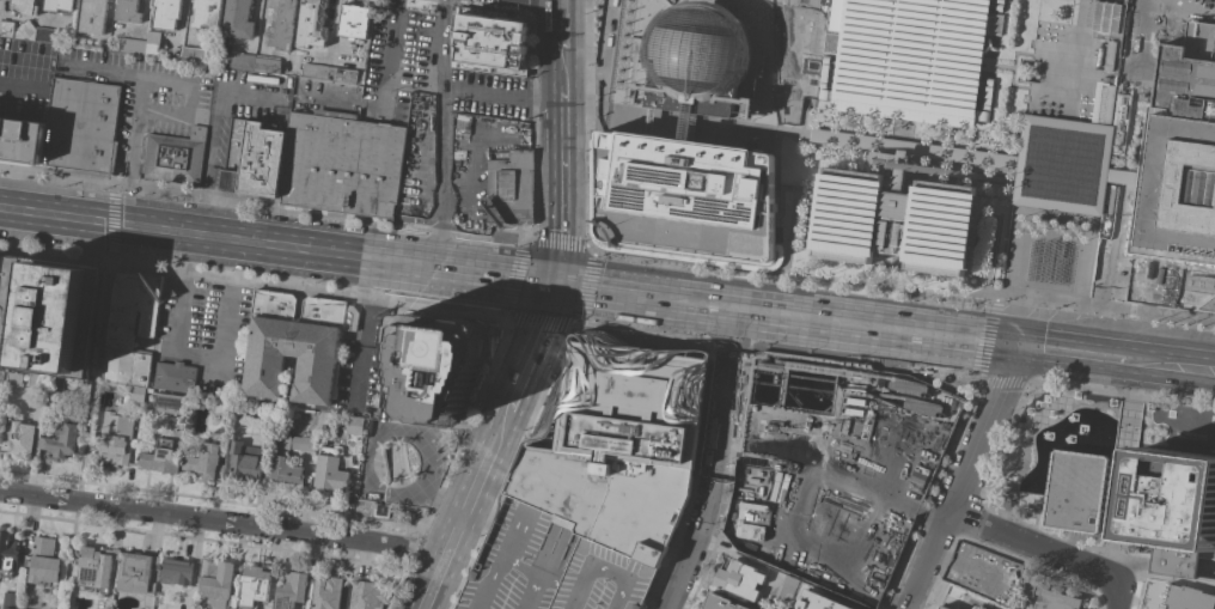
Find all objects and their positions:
building: (59, 5)
building: (25, 6)
building: (128, 11)
building: (166, 13)
building: (207, 13)
road: (1146, 13)
building: (93, 16)
building: (238, 19)
building: (354, 20)
building: (281, 24)
building: (312, 24)
road: (562, 25)
road: (332, 26)
building: (7, 28)
building: (26, 30)
building: (49, 35)
building: (492, 41)
building: (153, 43)
building: (133, 45)
building: (696, 49)
road: (603, 53)
building: (194, 55)
road: (389, 55)
building: (242, 60)
road: (1075, 60)
building: (910, 61)
building: (268, 63)
road: (776, 65)
road: (562, 69)
building: (315, 72)
building: (342, 75)
road: (19, 78)
road: (502, 95)
road: (135, 109)
building: (1110, 112)
building: (83, 127)
road: (441, 133)
building: (22, 140)
road: (851, 140)
building: (883, 150)
building: (1182, 151)
building: (234, 153)
building: (173, 157)
building: (262, 160)
road: (1060, 162)
building: (342, 164)
road: (204, 165)
building: (1061, 165)
road: (1062, 165)
building: (1112, 175)
building: (674, 177)
road: (561, 185)
building: (509, 189)
road: (112, 220)
building: (893, 221)
traffic signals: (112, 223)
road: (189, 232)
road: (527, 244)
road: (1050, 256)
road: (391, 260)
road: (477, 272)
road: (779, 274)
road: (603, 279)
traffic signals: (552, 282)
building: (8, 292)
road: (695, 292)
road: (371, 300)
road: (639, 309)
road: (733, 310)
road: (875, 315)
building: (55, 317)
road: (1146, 319)
building: (130, 327)
traffic signals: (1016, 333)
road: (871, 339)
road: (1076, 341)
building: (295, 345)
road: (1013, 345)
helipad: (445, 349)
road: (175, 353)
road: (1176, 353)
traffic signals: (1011, 357)
building: (438, 364)
road: (981, 365)
road: (1112, 371)
road: (359, 373)
building: (1, 377)
building: (175, 377)
road: (96, 378)
building: (16, 379)
building: (36, 382)
building: (57, 385)
road: (1135, 388)
building: (234, 392)
building: (134, 394)
road: (511, 394)
building: (170, 403)
building: (222, 406)
building: (237, 406)
building: (261, 410)
building: (354, 425)
fountain: (1099, 431)
building: (18, 438)
building: (115, 438)
road: (417, 439)
building: (61, 440)
building: (295, 441)
building: (621, 444)
road: (1125, 453)
building: (160, 458)
building: (245, 461)
building: (206, 462)
road: (713, 469)
building: (330, 470)
building: (288, 474)
road: (961, 483)
road: (374, 487)
road: (1121, 489)
road: (39, 495)
road: (442, 495)
building: (1009, 500)
building: (1140, 503)
road: (1117, 512)
road: (261, 525)
road: (452, 536)
road: (1070, 547)
road: (1112, 547)
road: (1098, 549)
building: (7, 552)
road: (1044, 552)
road: (71, 555)
building: (43, 561)
road: (1123, 561)
road: (971, 566)
building: (96, 567)
building: (551, 567)
parking garage: (551, 567)
road: (1205, 568)
building: (981, 571)
building: (176, 572)
building: (136, 573)
building: (739, 579)
building: (215, 581)
building: (258, 583)
road: (429, 587)
building: (788, 587)
building: (291, 590)
building: (328, 592)
building: (367, 596)
building: (1174, 597)
building: (1050, 598)
building: (11, 601)
building: (722, 601)
building: (819, 601)
building: (944, 607)
building: (938, 608)

